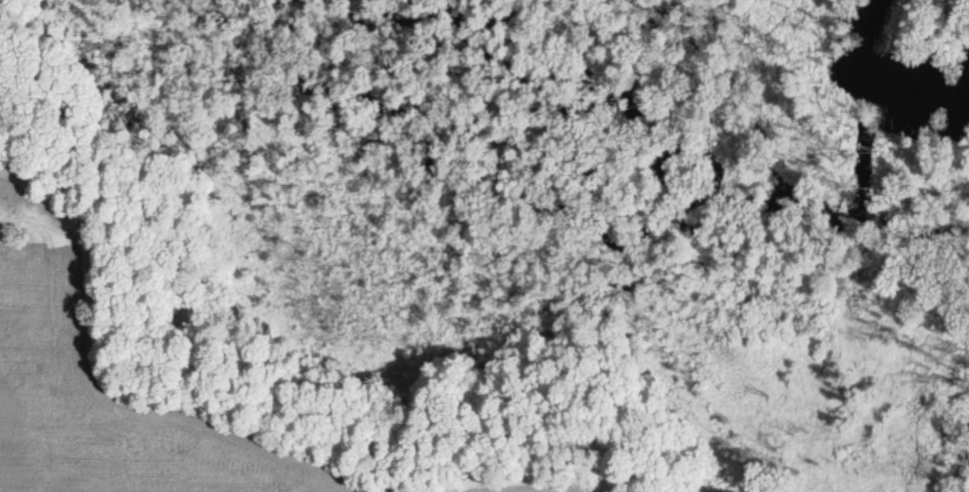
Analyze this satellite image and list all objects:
river: (884, 83)

